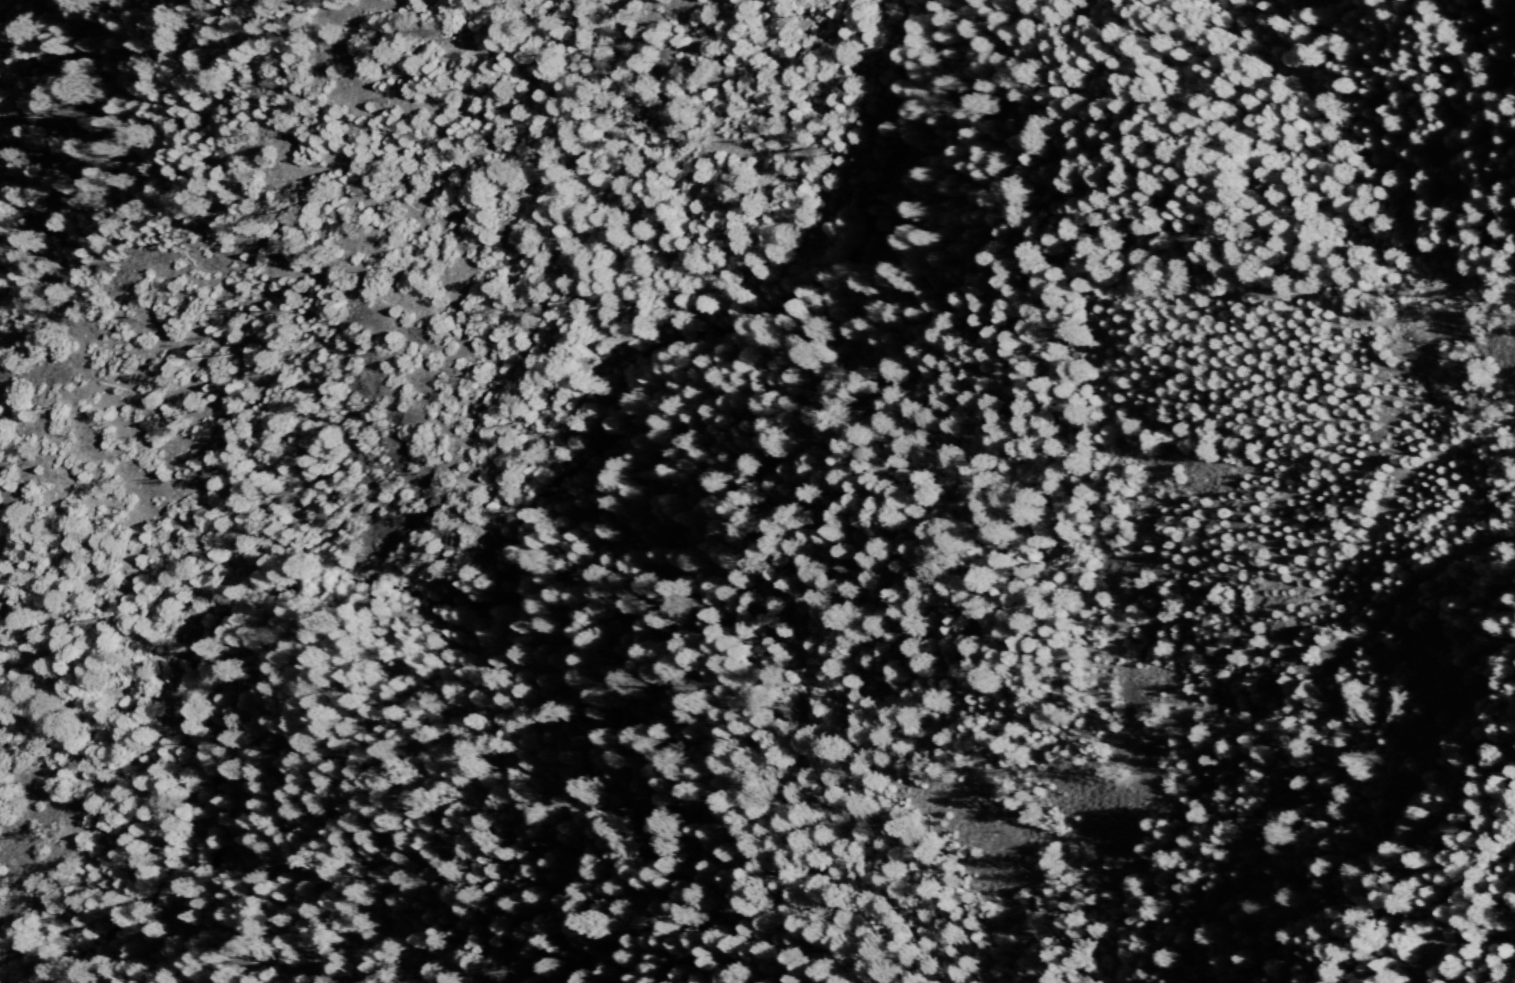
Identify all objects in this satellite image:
road: (1462, 890)

